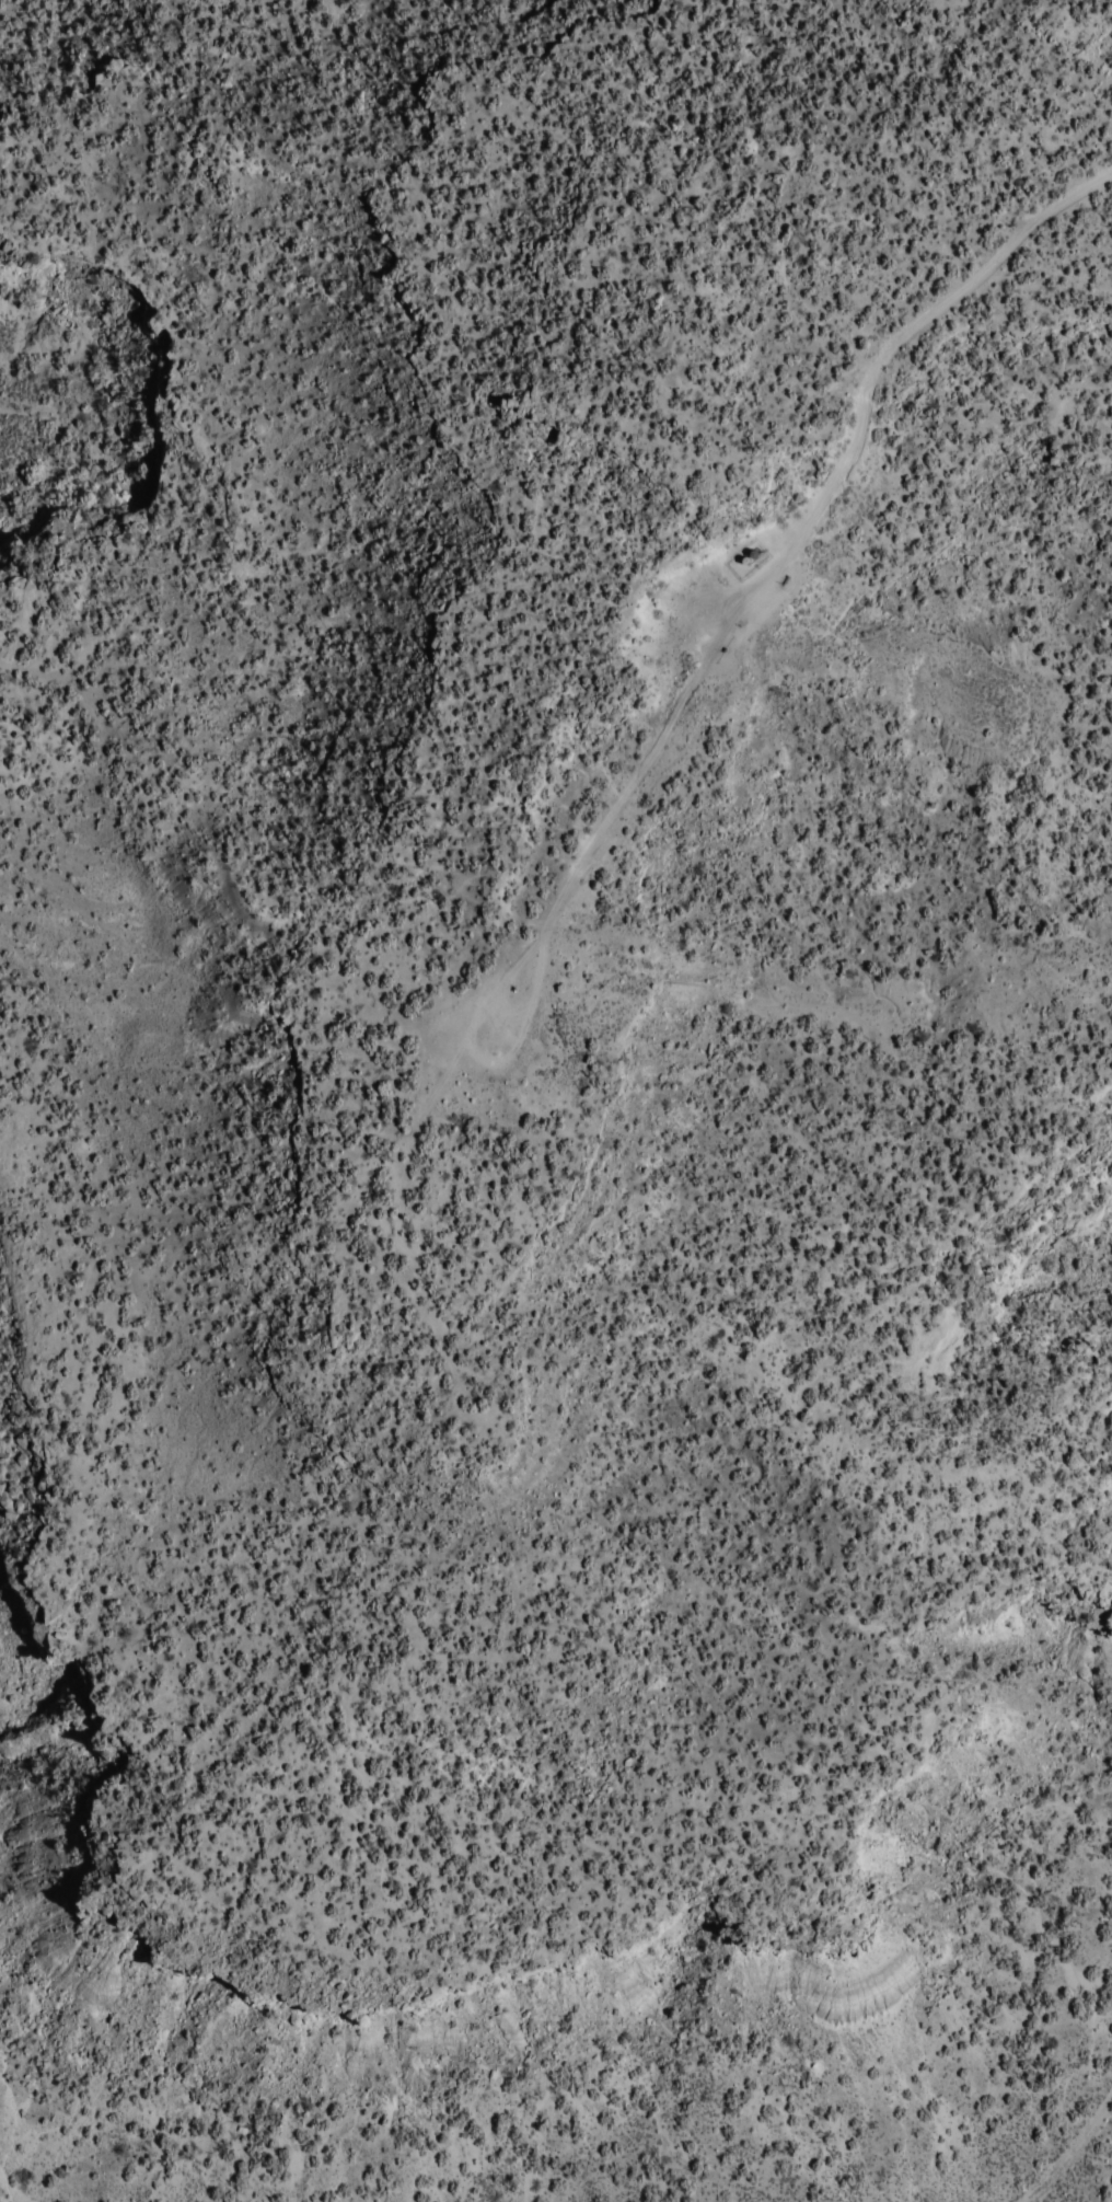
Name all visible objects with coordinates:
road: (664, 792)

